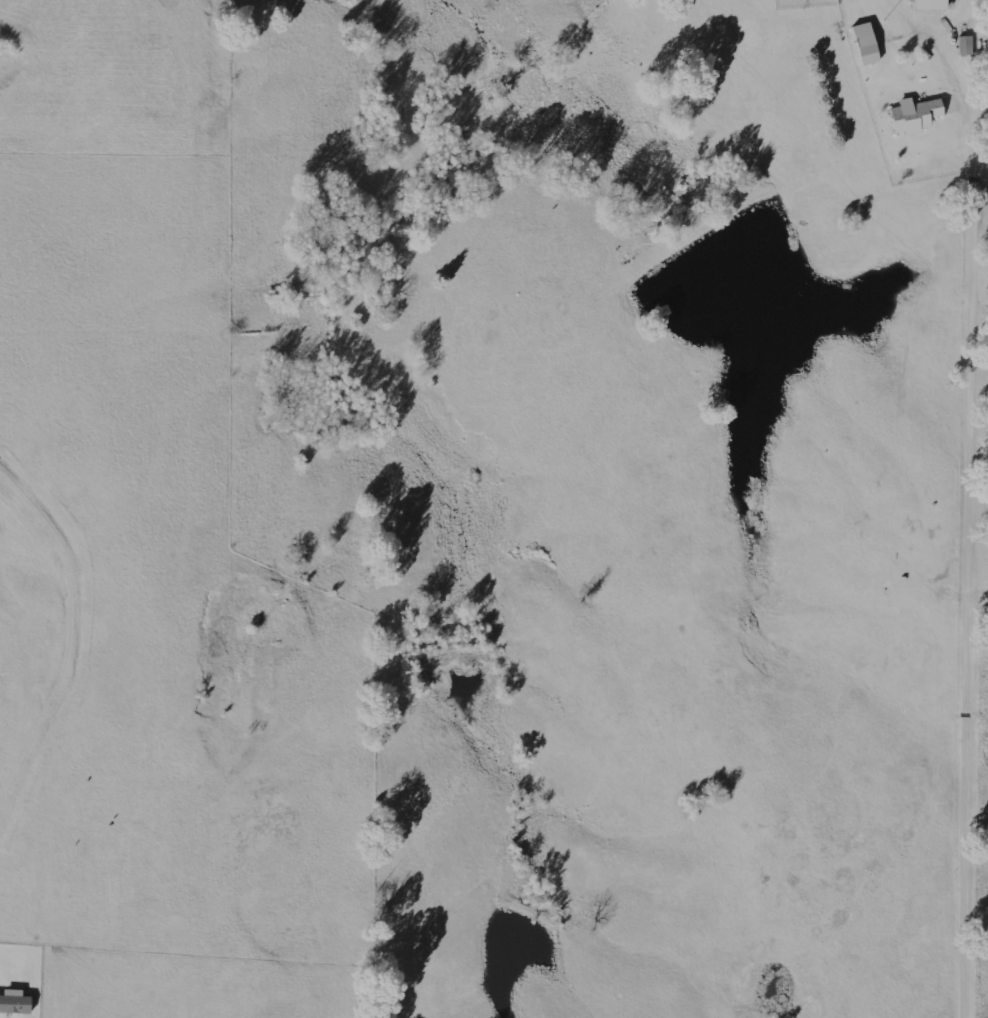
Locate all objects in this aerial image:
building: (933, 4)
building: (867, 42)
building: (917, 114)
building: (16, 1003)

